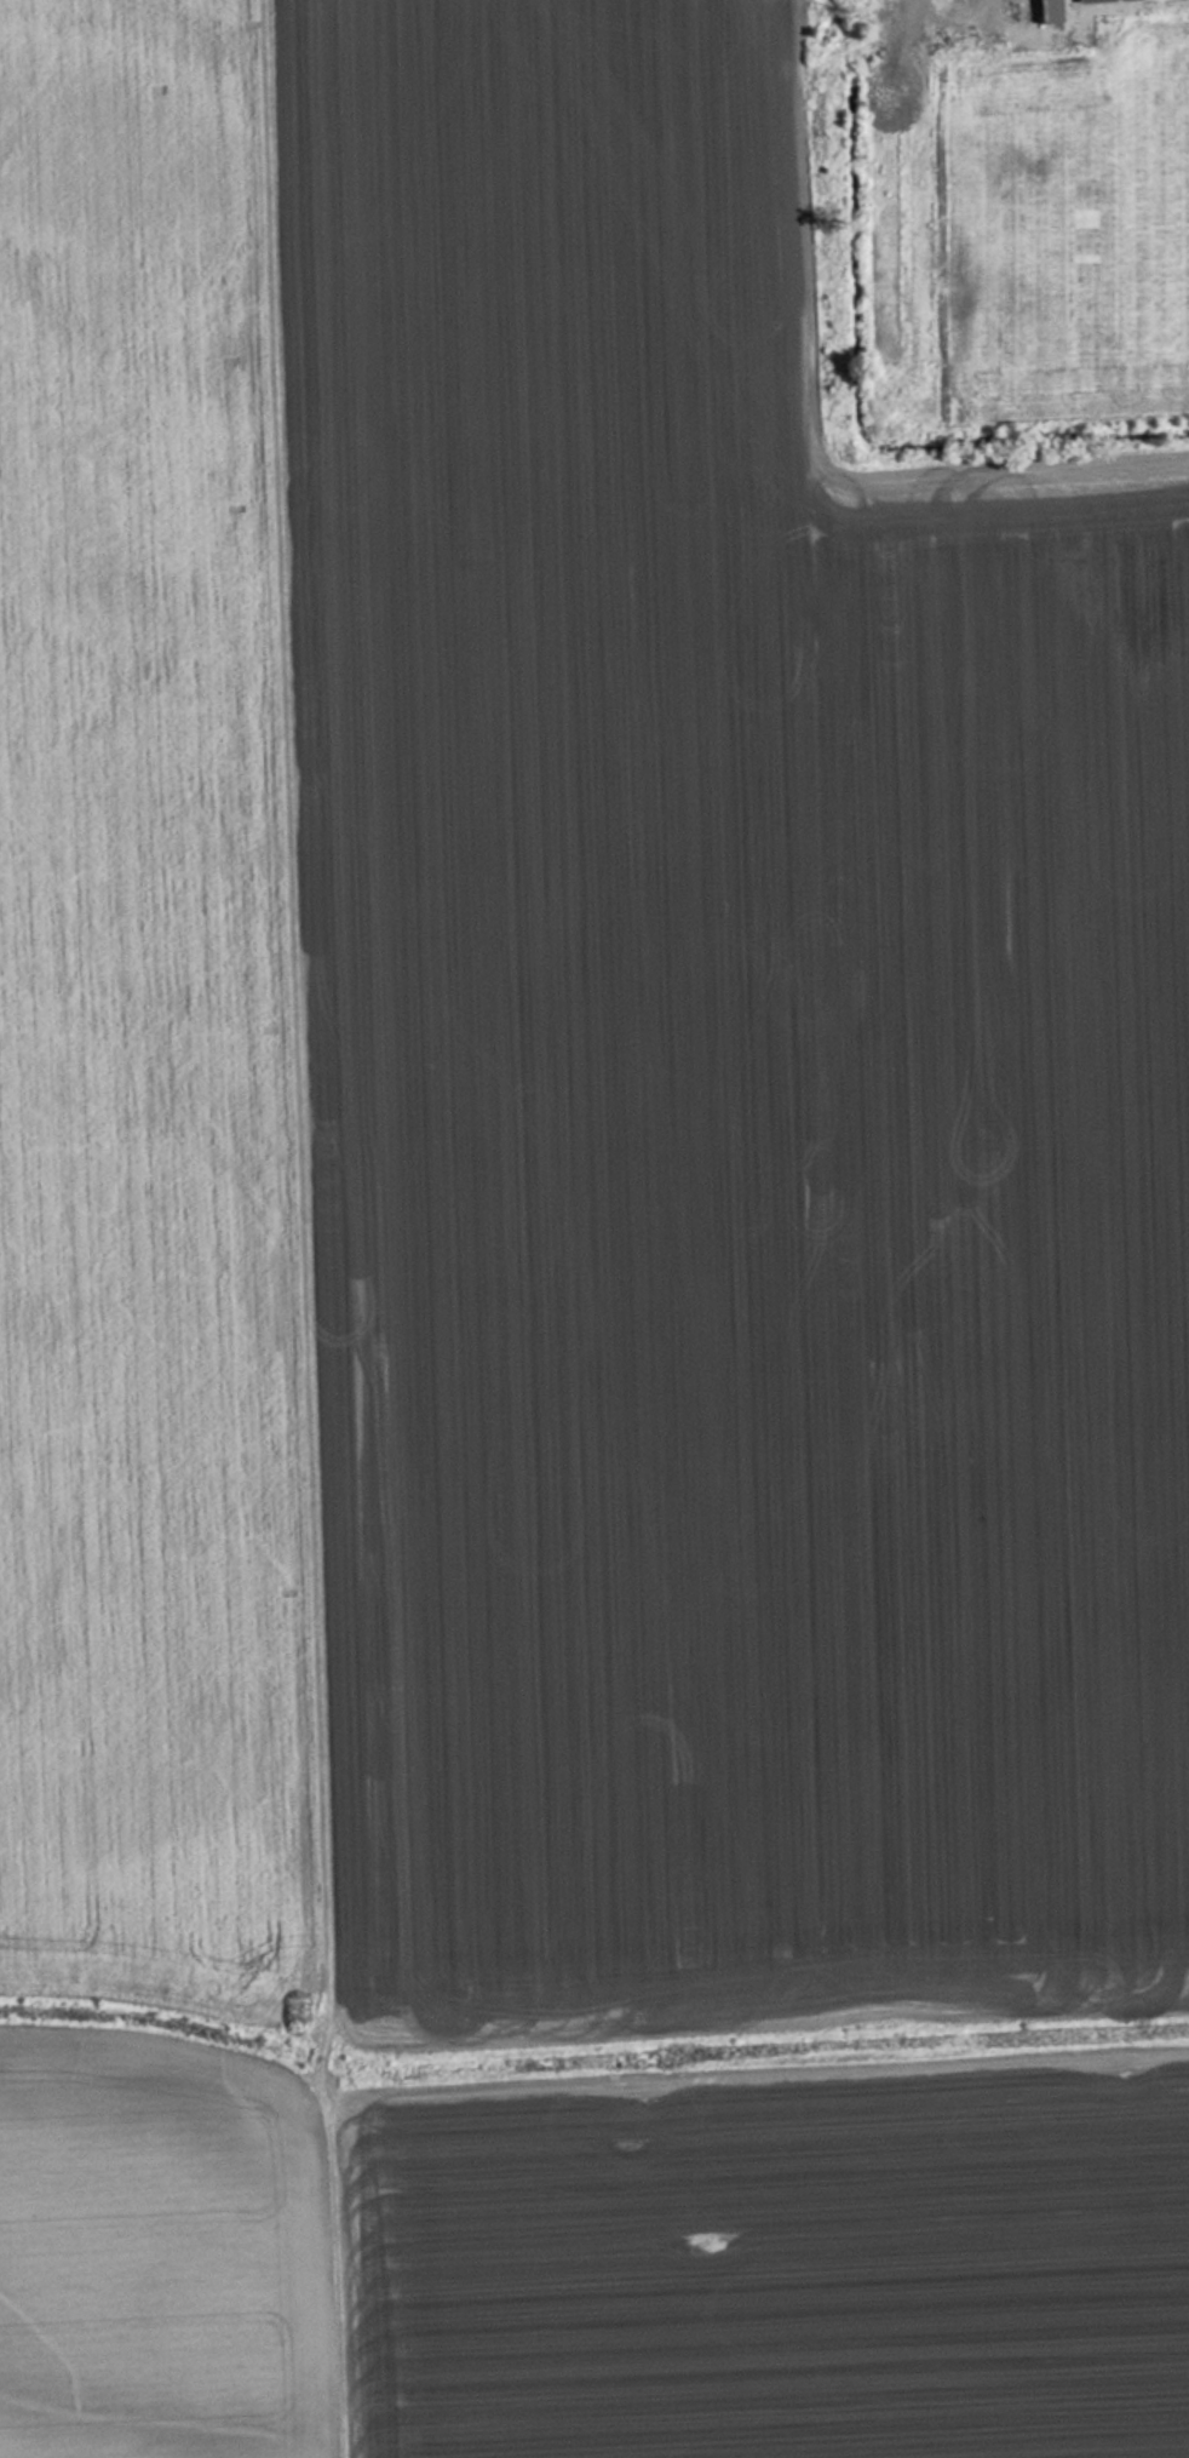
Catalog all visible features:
building: (1093, 0)
building: (1053, 10)

